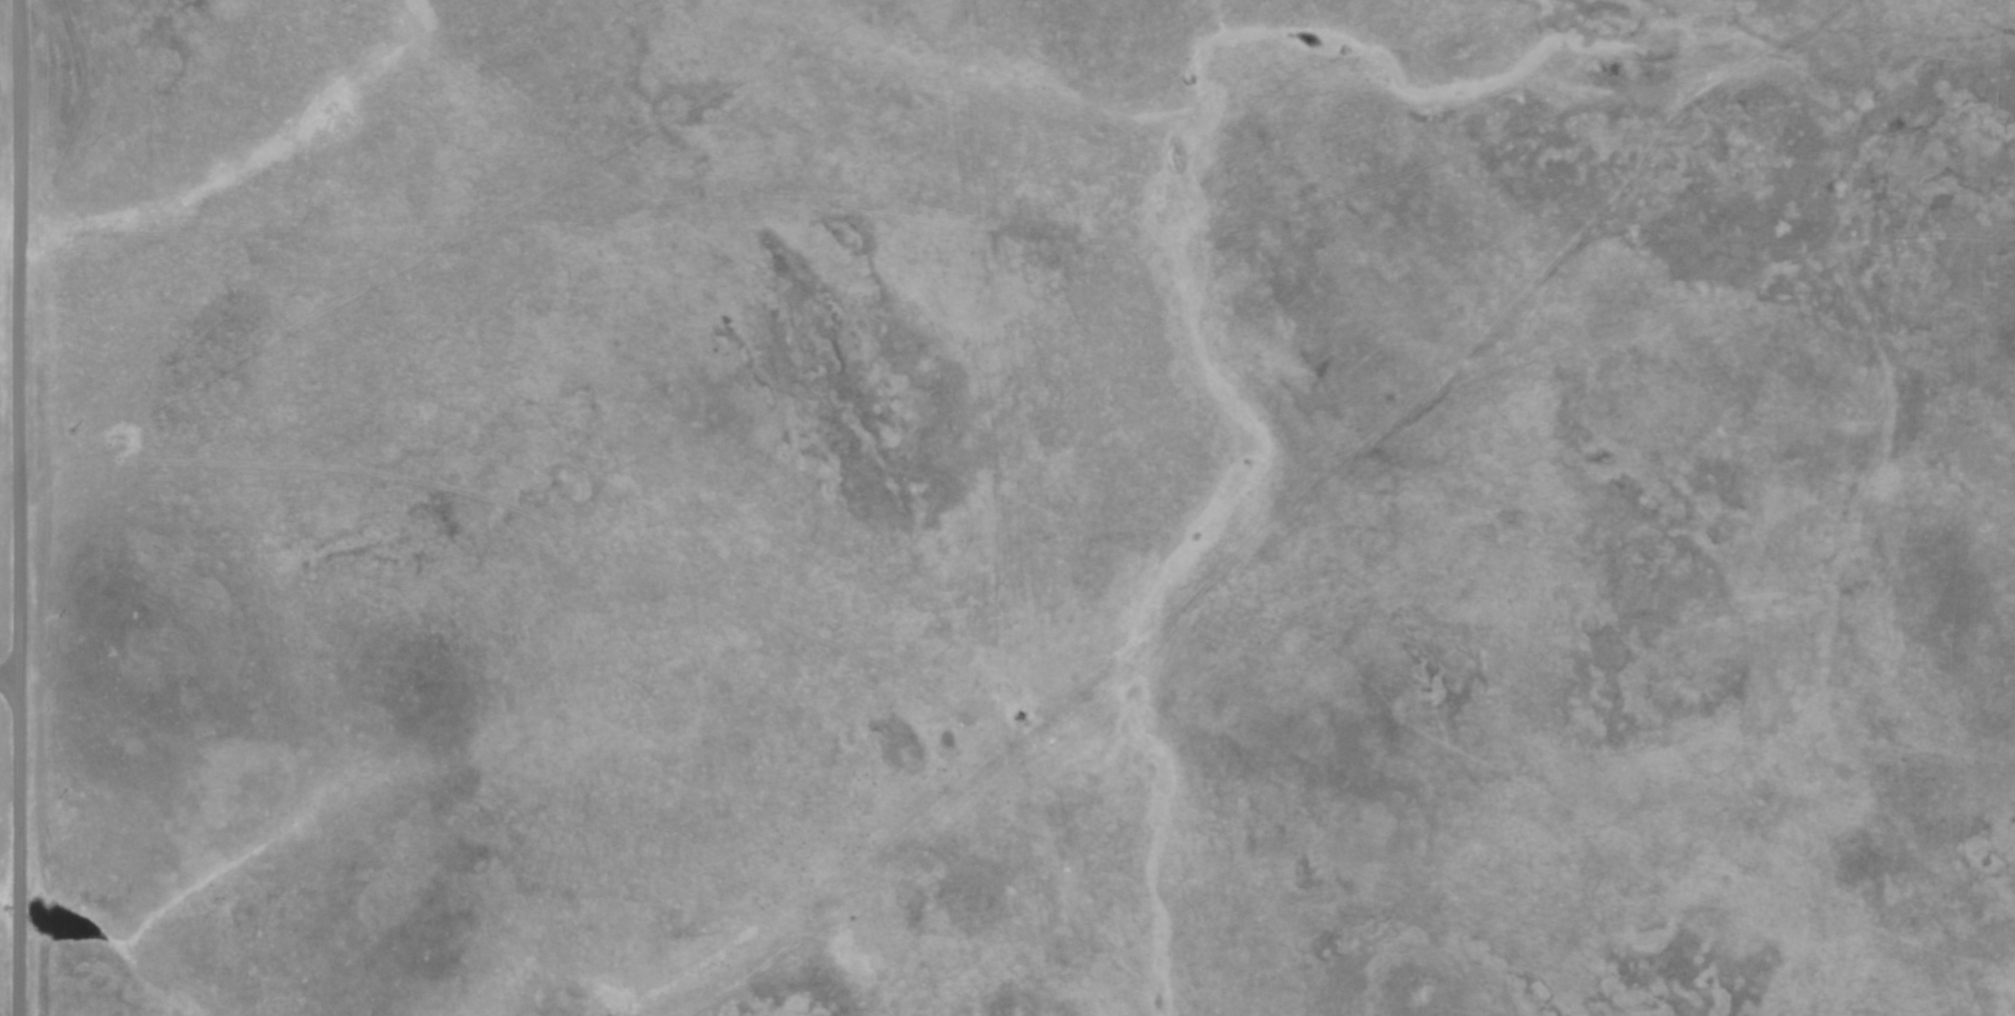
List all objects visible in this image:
road: (24, 508)
road: (12, 674)

